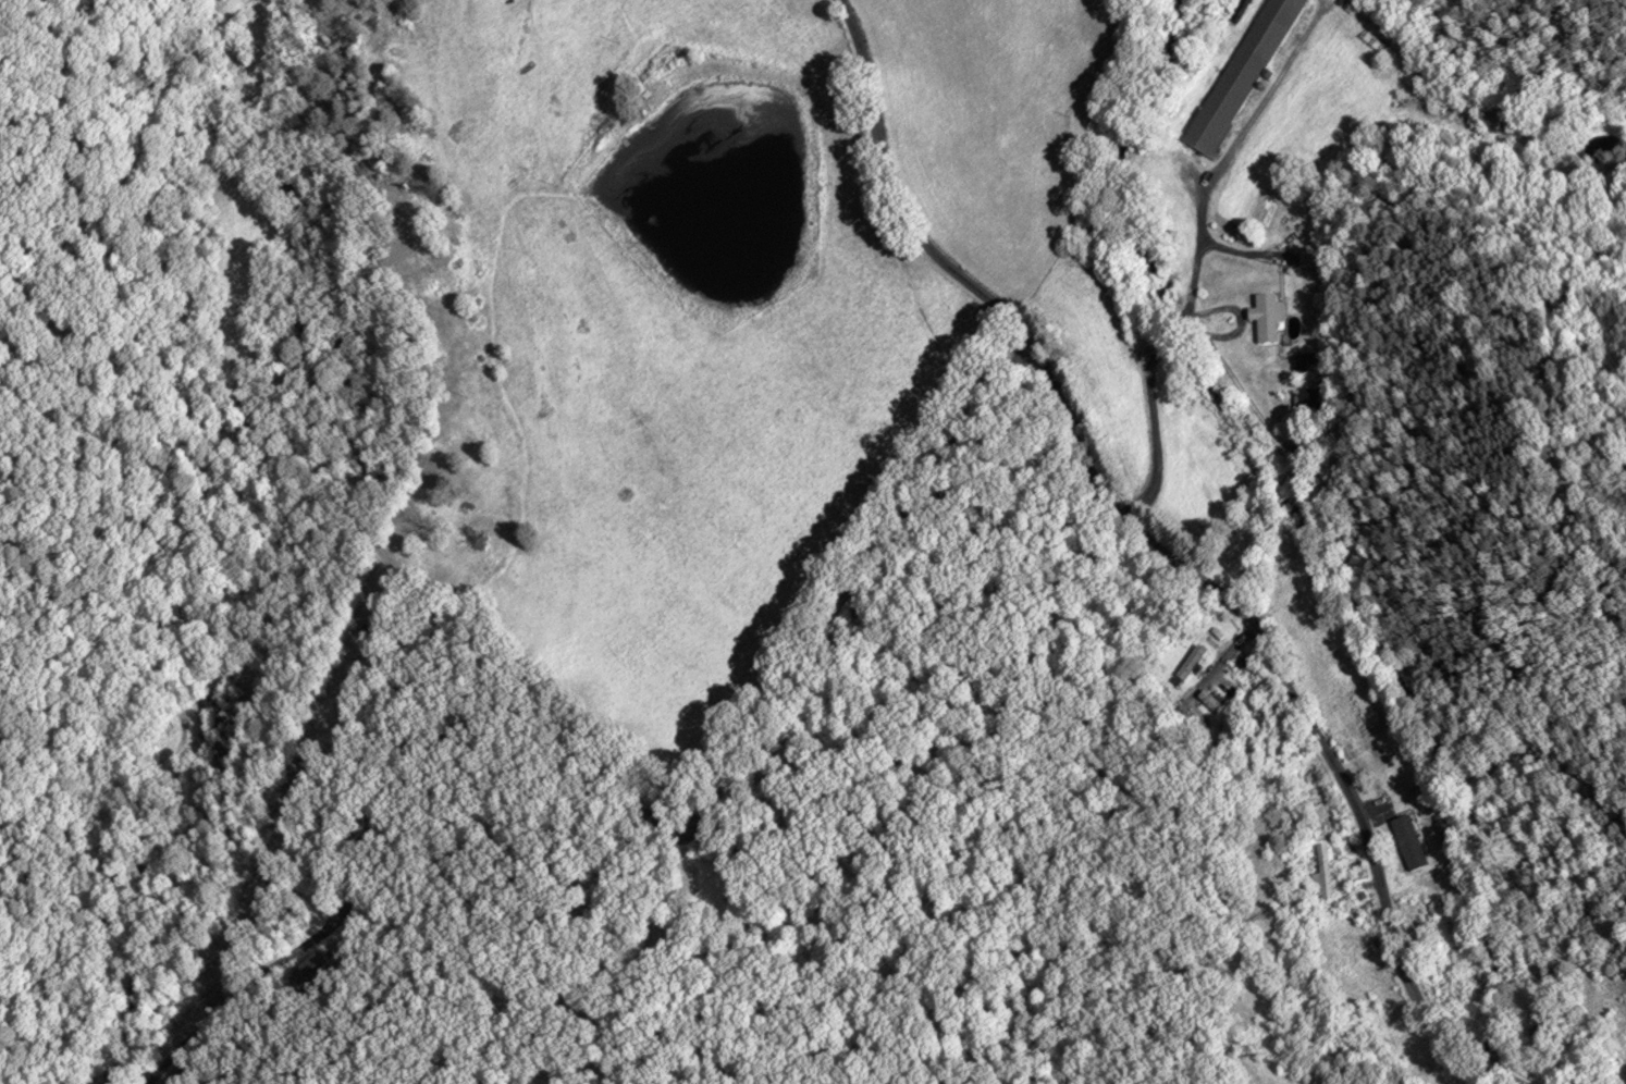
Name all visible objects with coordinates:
building: (1244, 71)
building: (1500, 115)
building: (1268, 319)
building: (1310, 366)
road: (1157, 373)
building: (1311, 403)
road: (1170, 554)
building: (1191, 664)
building: (1217, 710)
road: (607, 759)
building: (1443, 832)
building: (1404, 835)
building: (1320, 874)
building: (312, 978)
building: (1541, 1044)

